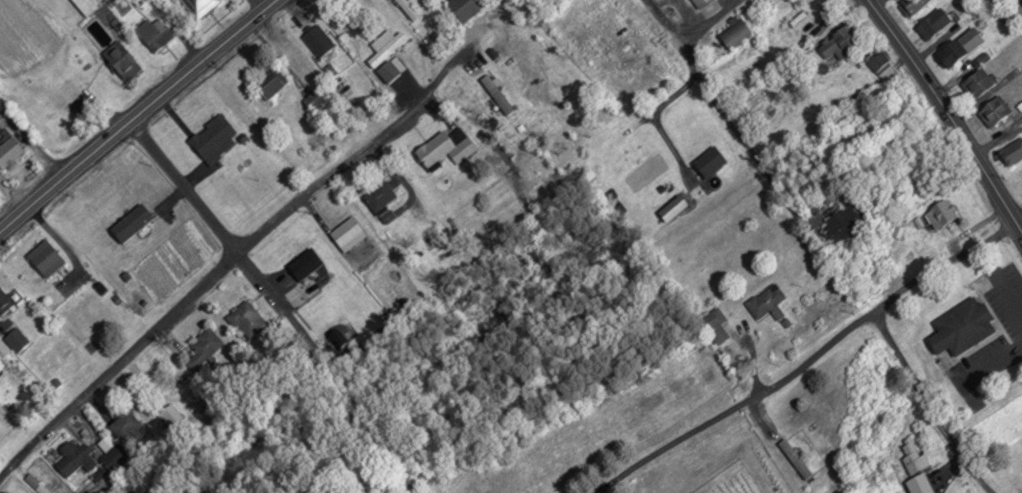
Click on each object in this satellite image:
building: (703, 3)
road: (875, 3)
road: (255, 5)
building: (86, 6)
building: (912, 6)
building: (200, 7)
building: (467, 7)
building: (408, 8)
building: (1014, 13)
building: (936, 22)
road: (704, 23)
building: (740, 30)
building: (155, 33)
building: (319, 40)
building: (841, 43)
building: (956, 52)
building: (123, 59)
road: (683, 59)
building: (883, 63)
building: (272, 82)
building: (981, 83)
building: (315, 99)
building: (996, 111)
road: (135, 112)
road: (948, 116)
road: (996, 134)
building: (215, 137)
building: (446, 147)
building: (1013, 152)
building: (712, 160)
building: (382, 199)
building: (937, 217)
road: (264, 223)
building: (851, 225)
building: (349, 233)
building: (47, 257)
building: (306, 263)
building: (5, 300)
building: (770, 302)
building: (249, 317)
building: (960, 324)
building: (716, 325)
building: (16, 339)
building: (203, 348)
road: (802, 355)
road: (116, 360)
road: (927, 404)
building: (168, 412)
building: (126, 425)
building: (111, 452)
building: (74, 457)
building: (918, 465)

